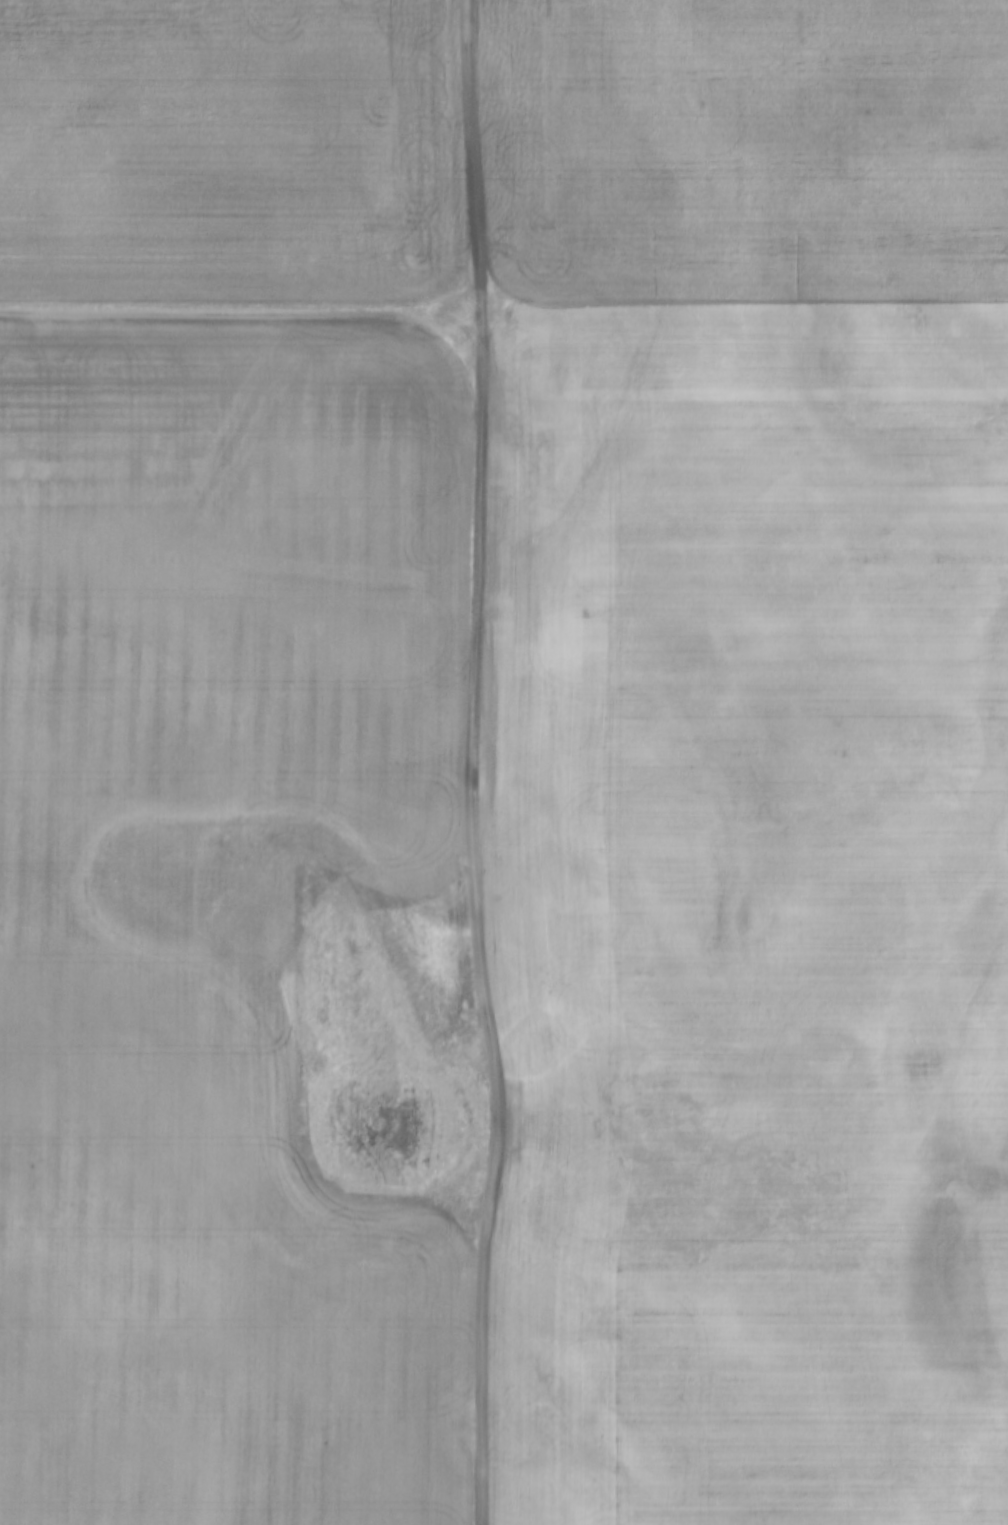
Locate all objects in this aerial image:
road: (503, 309)
road: (487, 762)

